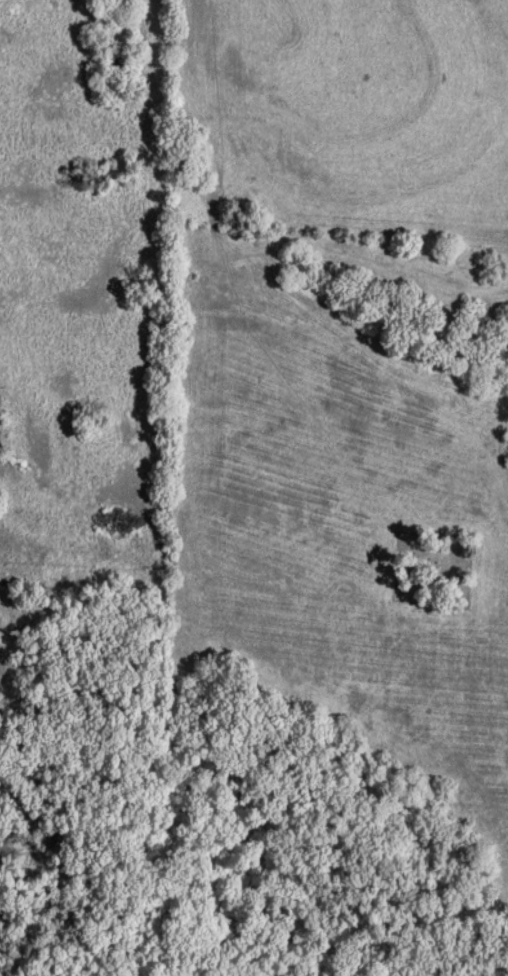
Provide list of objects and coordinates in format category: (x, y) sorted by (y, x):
park: (433, 566)

